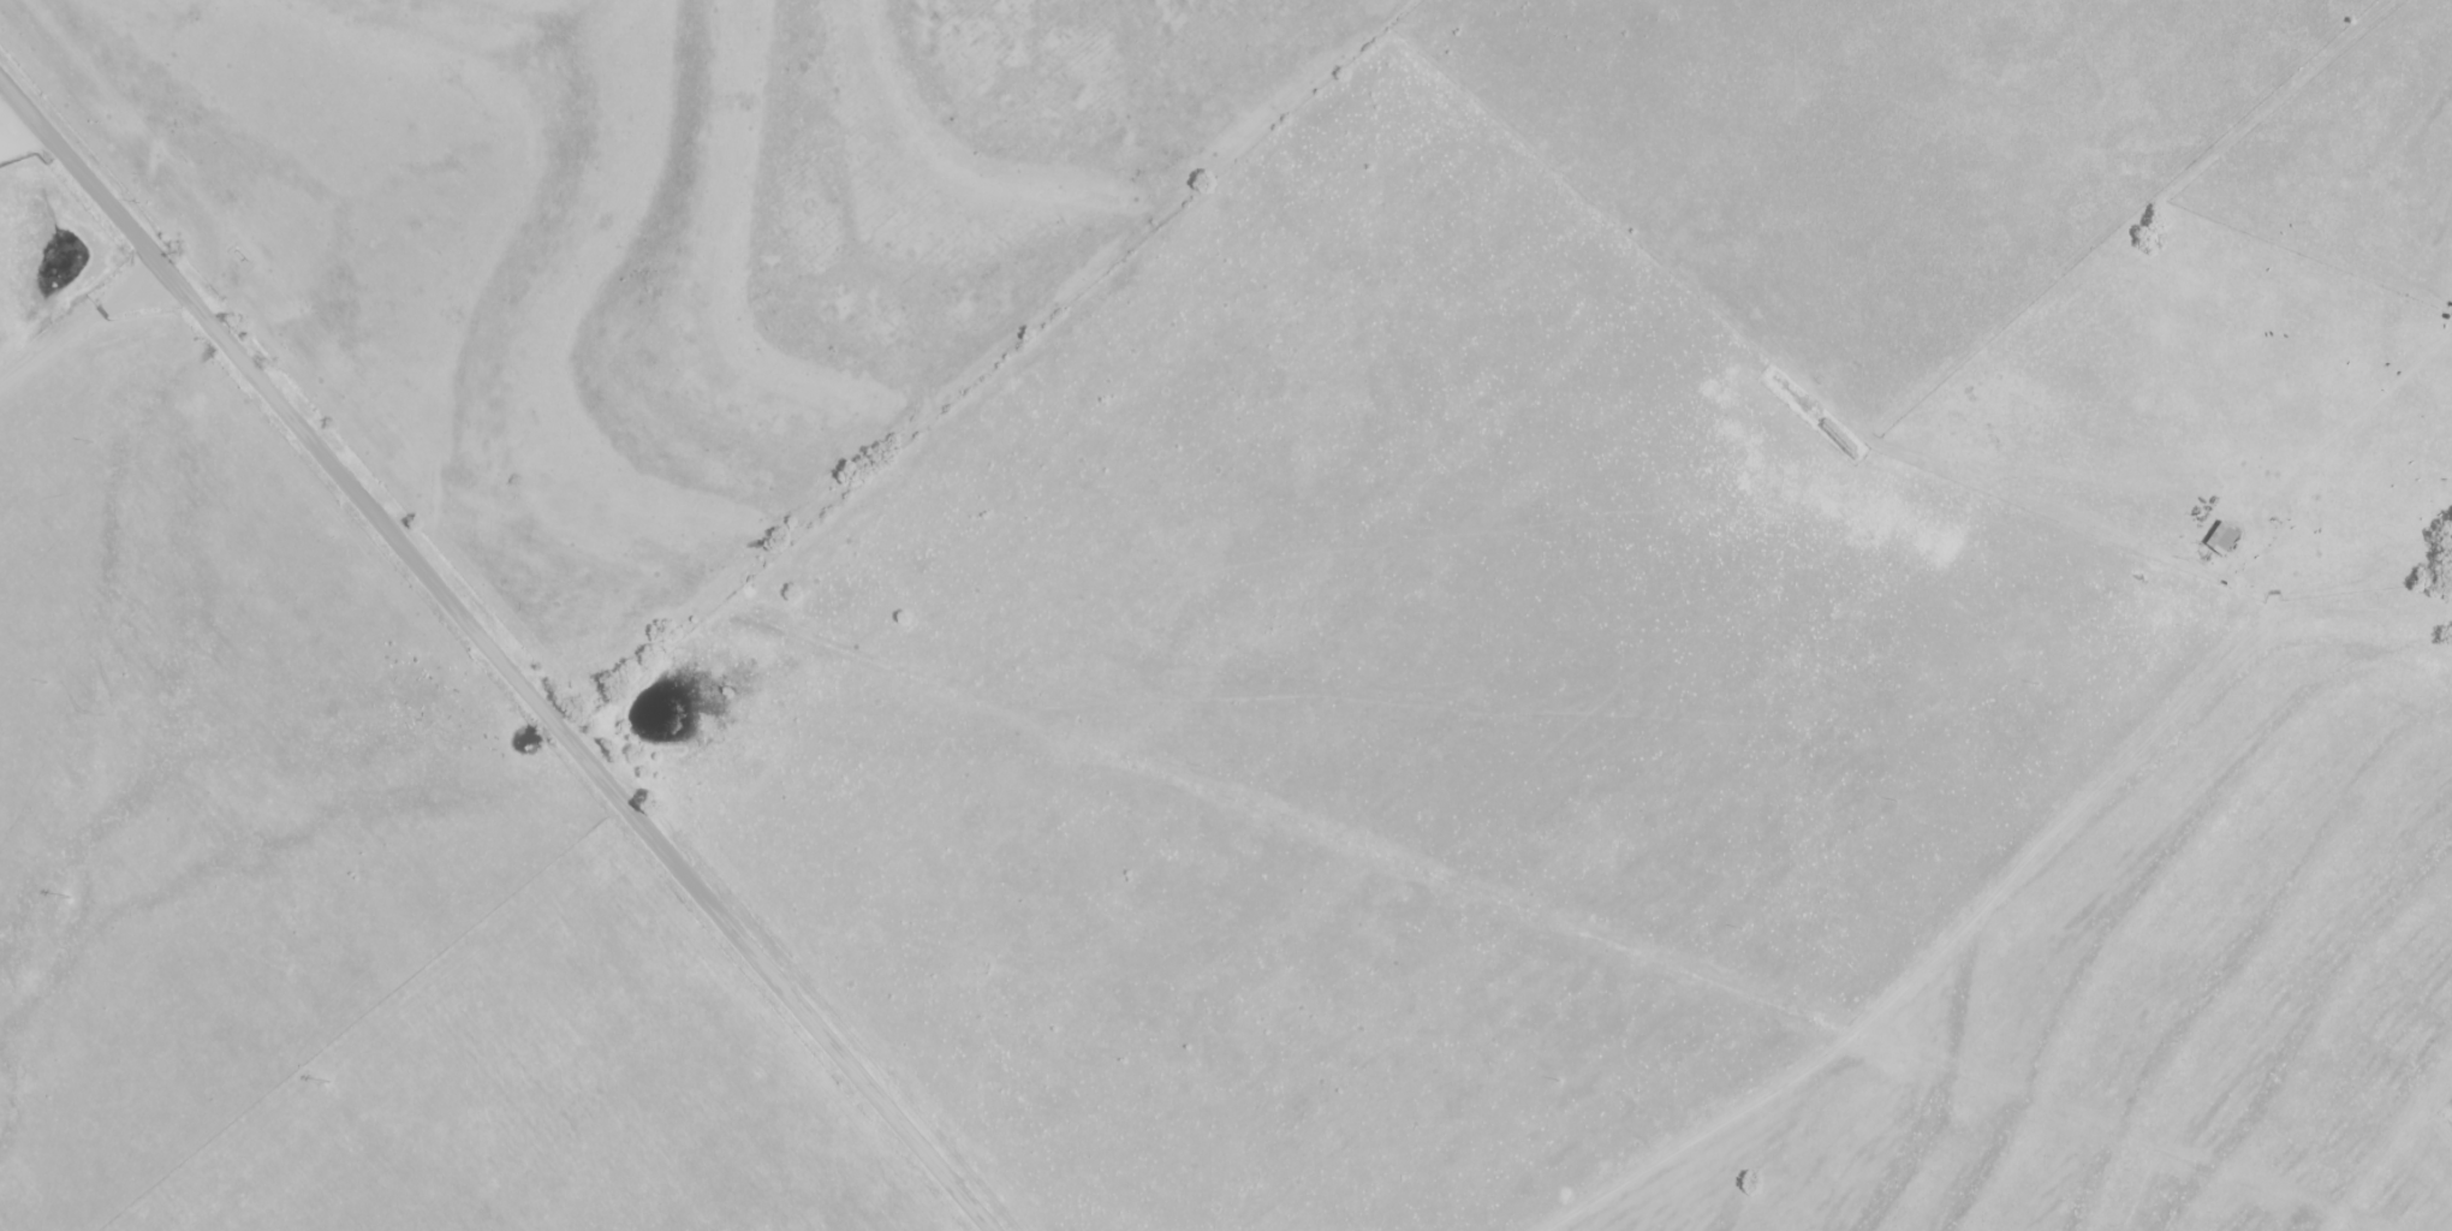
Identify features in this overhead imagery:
road: (12, 129)
road: (84, 326)
building: (2222, 541)
road: (502, 655)
power tower: (72, 898)
power tower: (331, 1082)

